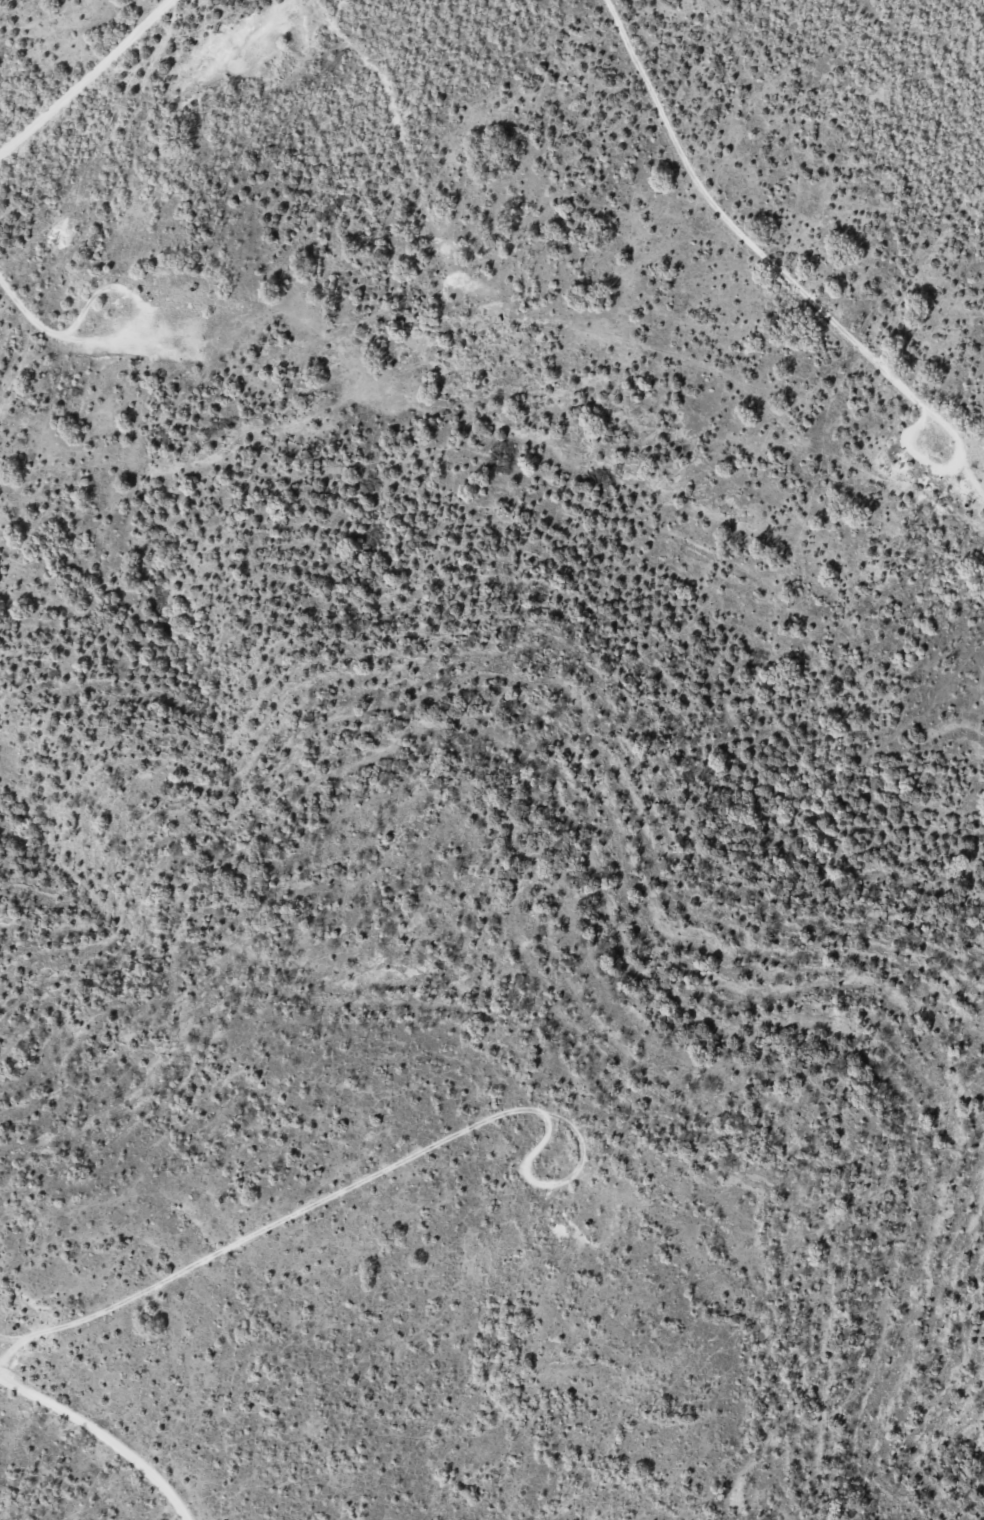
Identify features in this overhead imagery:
road: (96, 87)
road: (103, 1416)

